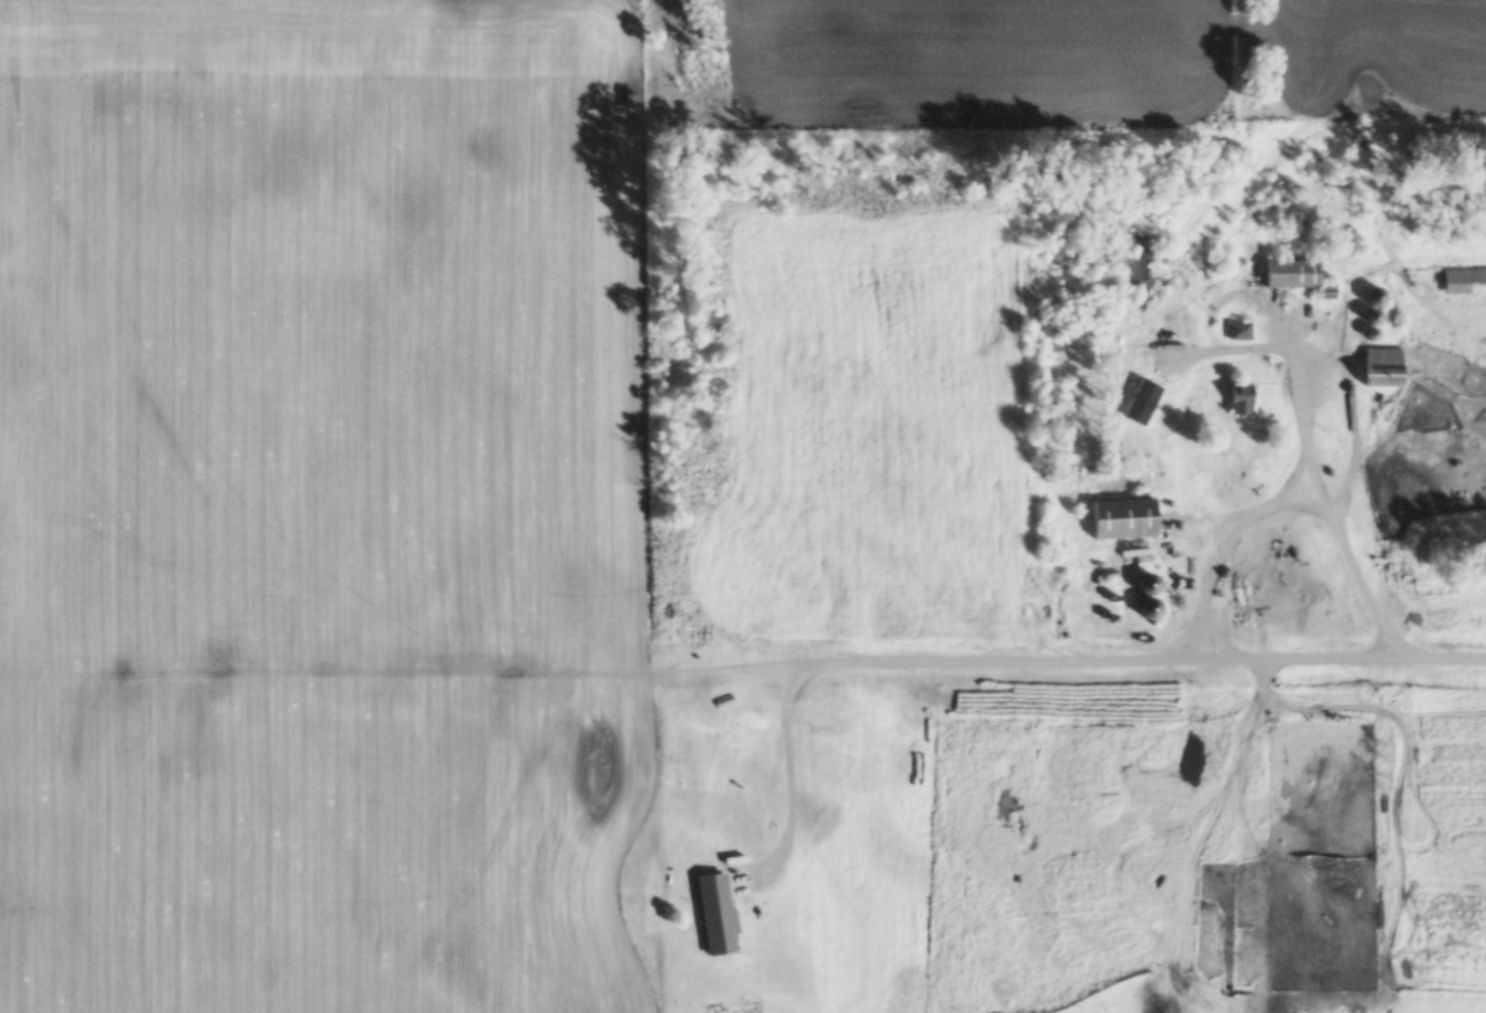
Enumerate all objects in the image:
building: (1294, 282)
building: (1462, 289)
building: (1328, 302)
building: (1377, 305)
silo: (1377, 305)
building: (1375, 325)
silo: (1375, 325)
building: (1240, 340)
building: (1374, 342)
silo: (1374, 342)
road: (1255, 350)
building: (1384, 376)
building: (1241, 407)
building: (1214, 412)
building: (1261, 425)
road: (1303, 431)
road: (1296, 479)
road: (1278, 507)
building: (1126, 527)
building: (1112, 582)
building: (1152, 592)
silo: (1152, 592)
building: (1115, 607)
building: (1152, 617)
silo: (1152, 617)
building: (1114, 626)
road: (407, 666)
road: (1150, 672)
road: (787, 781)
building: (717, 922)

